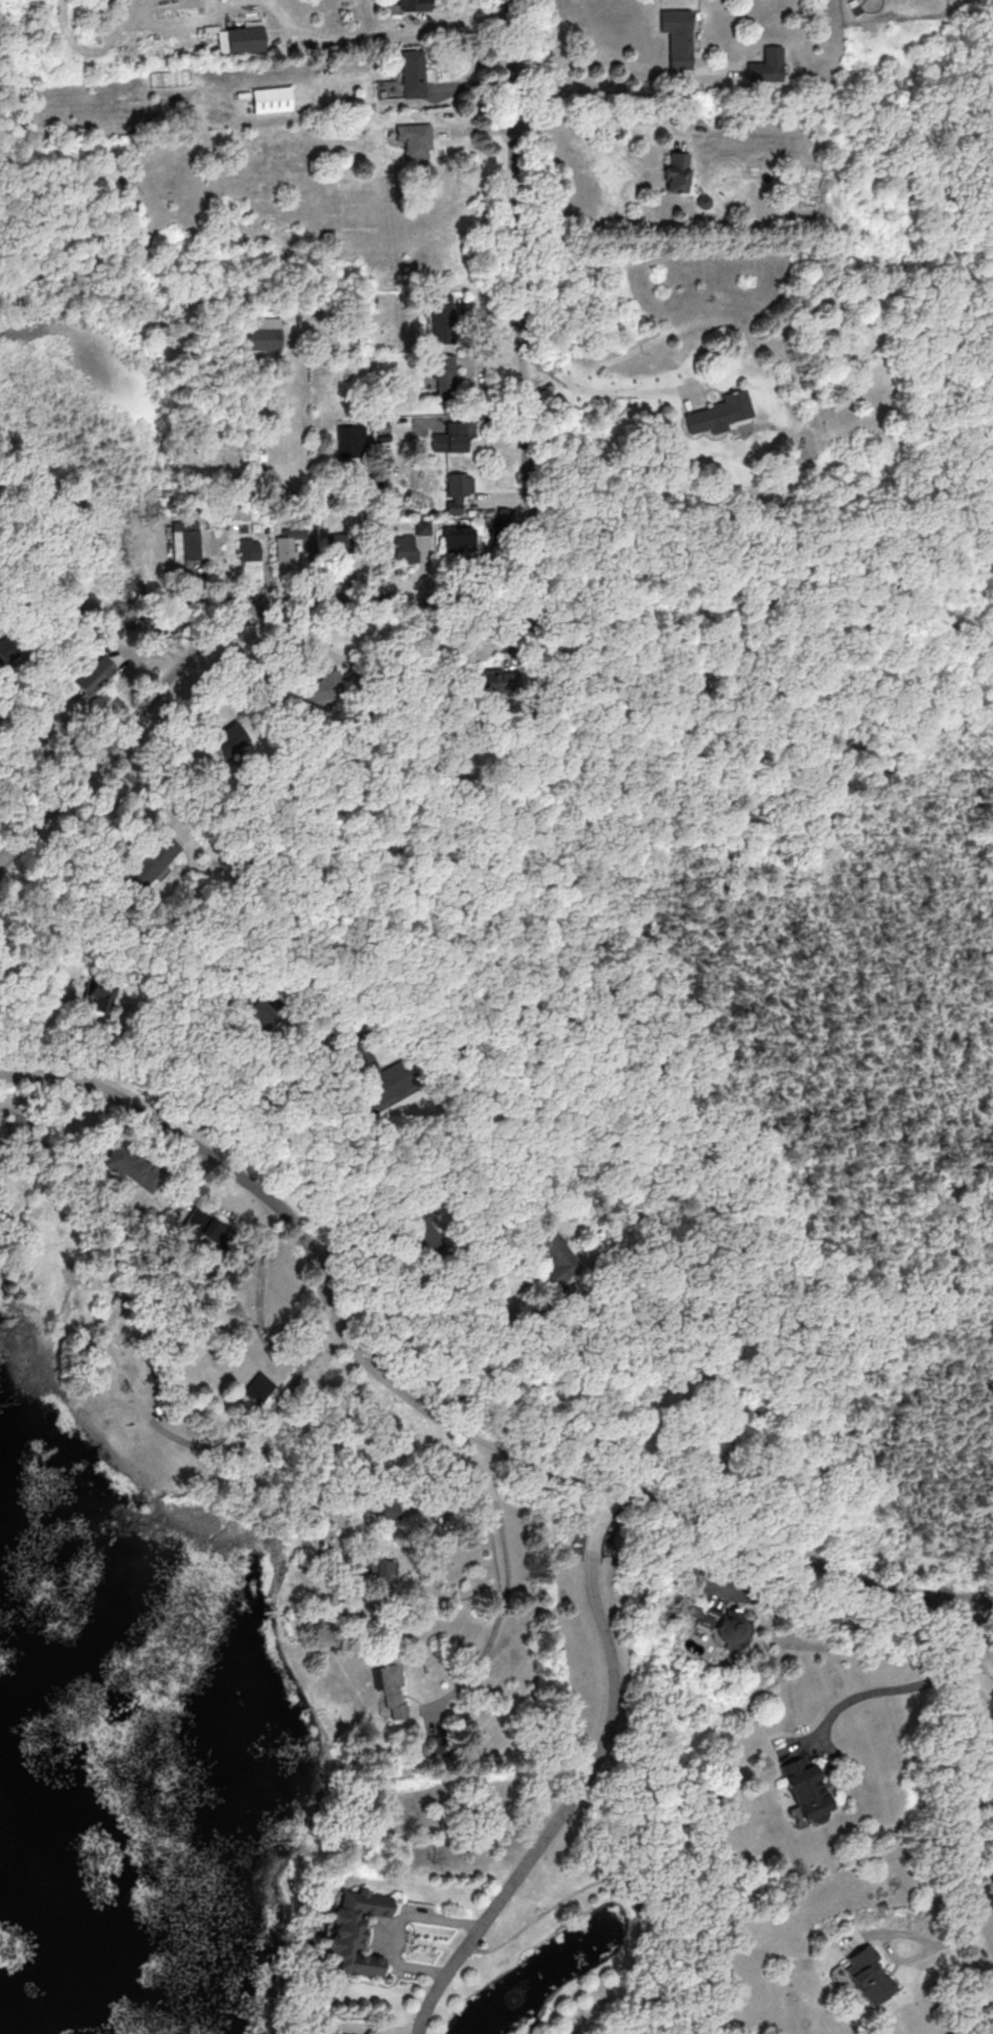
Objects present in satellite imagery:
building: (413, 4)
road: (382, 28)
building: (678, 35)
building: (245, 38)
road: (597, 63)
building: (766, 64)
building: (412, 73)
building: (271, 99)
road: (596, 120)
building: (415, 139)
building: (675, 171)
building: (368, 297)
building: (439, 316)
building: (264, 332)
building: (443, 373)
road: (606, 391)
building: (721, 414)
building: (451, 437)
building: (351, 440)
building: (457, 489)
building: (243, 527)
building: (422, 527)
building: (267, 529)
building: (457, 539)
building: (188, 541)
building: (336, 544)
building: (405, 549)
building: (249, 551)
building: (284, 551)
road: (498, 596)
building: (6, 652)
building: (95, 674)
building: (494, 681)
building: (322, 686)
building: (229, 740)
building: (152, 859)
building: (101, 995)
building: (256, 1007)
building: (374, 1074)
road: (254, 1106)
building: (23, 1124)
building: (133, 1168)
building: (423, 1228)
building: (215, 1233)
building: (553, 1253)
road: (499, 1367)
building: (256, 1388)
road: (439, 1420)
building: (392, 1506)
building: (379, 1577)
road: (510, 1584)
building: (721, 1624)
road: (974, 1636)
building: (391, 1688)
road: (878, 1690)
road: (584, 1783)
building: (807, 1789)
building: (354, 1931)
road: (939, 1945)
building: (867, 1972)
building: (332, 2033)

